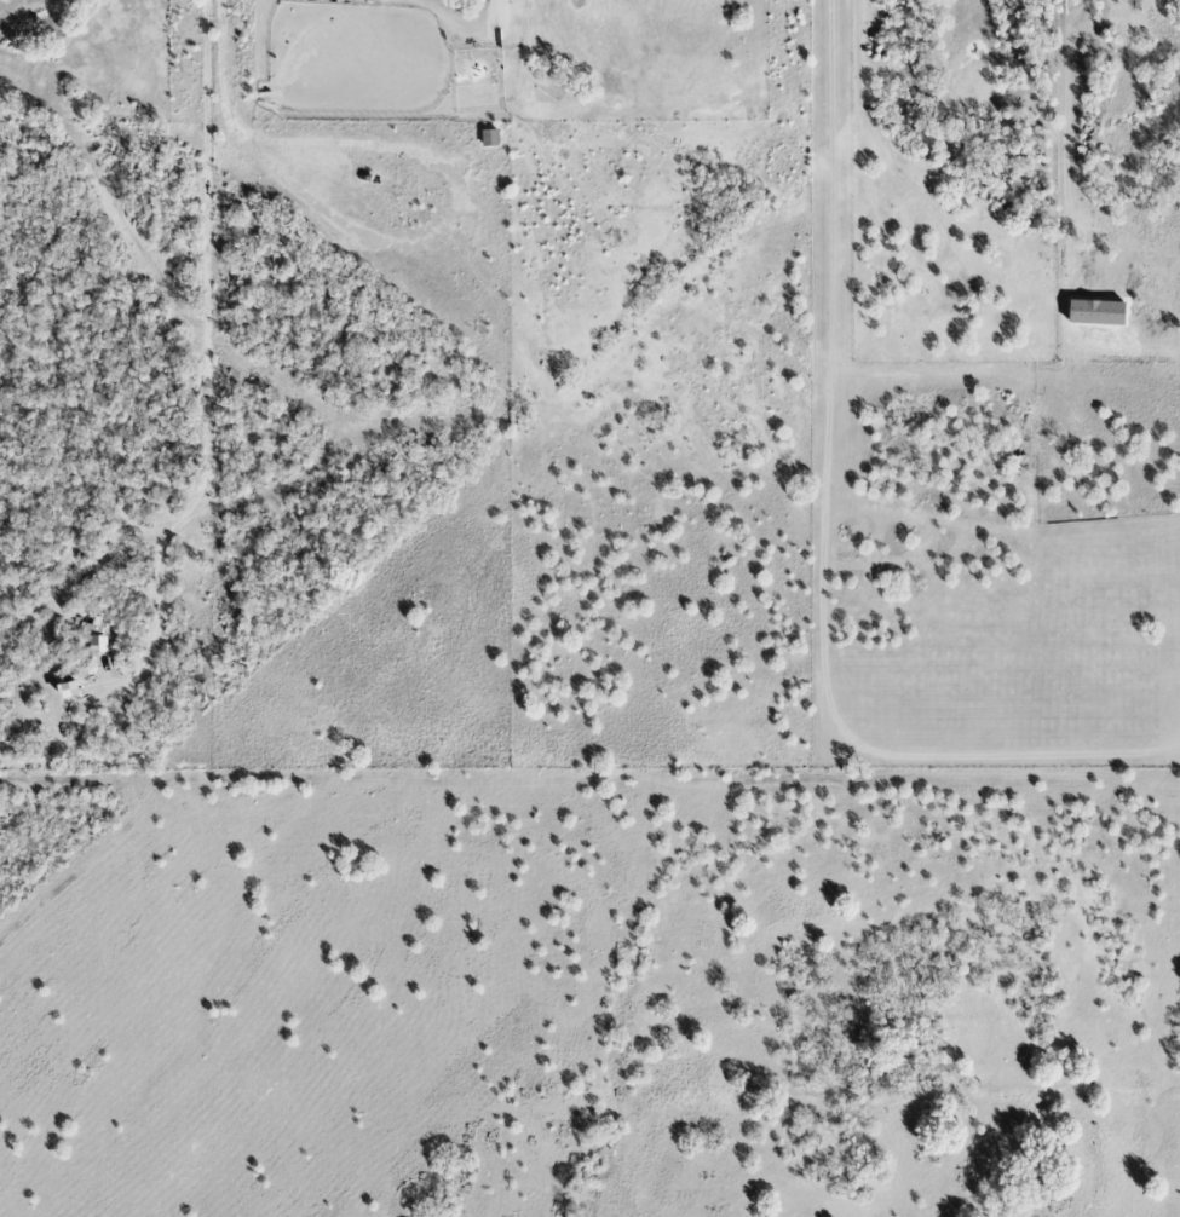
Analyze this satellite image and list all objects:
road: (28, 18)
building: (488, 138)
road: (208, 362)
building: (97, 644)

